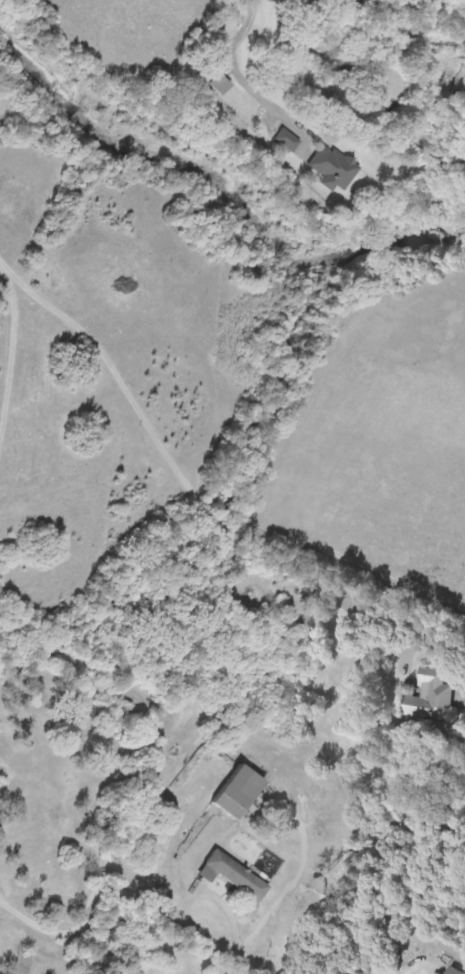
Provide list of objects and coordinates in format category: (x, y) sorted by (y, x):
building: (219, 82)
building: (286, 138)
building: (333, 166)
road: (434, 688)
building: (428, 695)
building: (236, 790)
road: (115, 853)
building: (232, 873)
road: (10, 941)
building: (132, 967)
building: (454, 970)
building: (226, 973)

